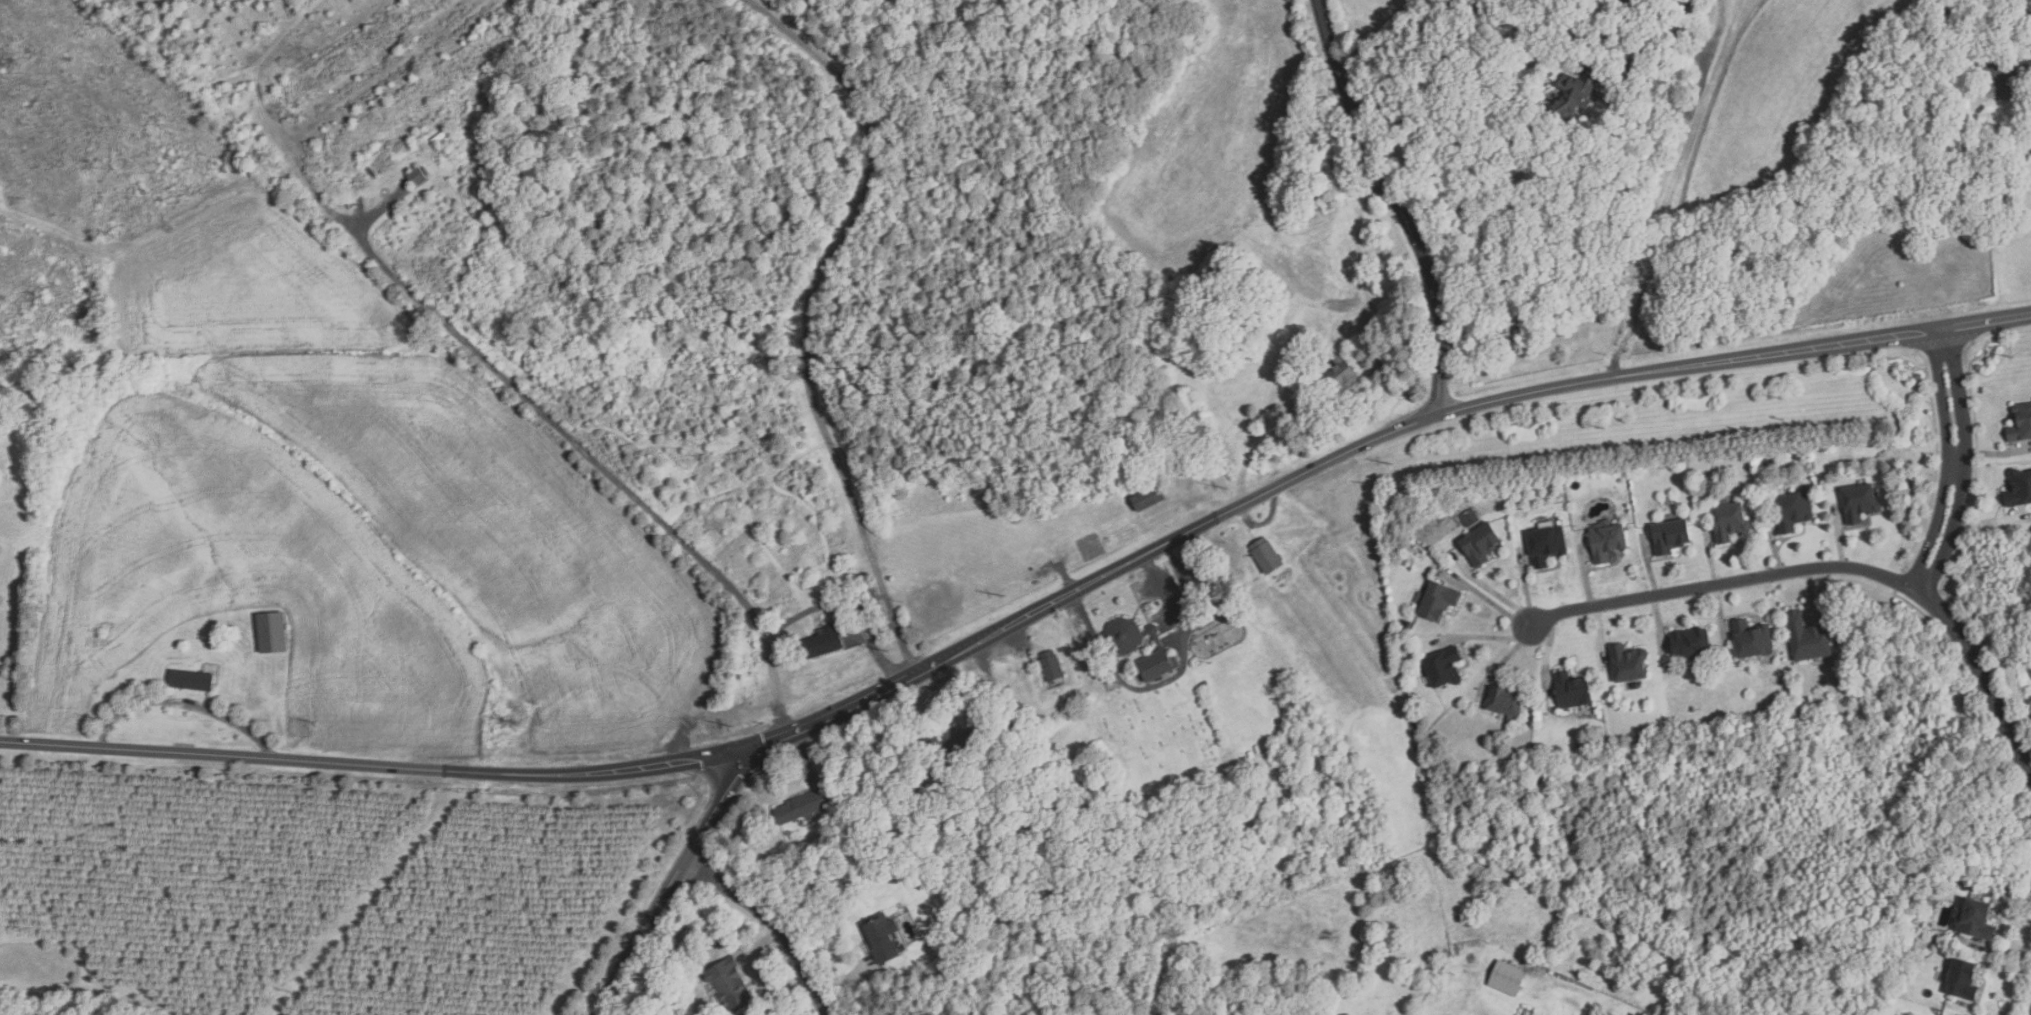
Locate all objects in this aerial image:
building: (1630, 3)
building: (2024, 5)
road: (1533, 51)
building: (2001, 69)
building: (2027, 71)
road: (1698, 92)
building: (1575, 96)
road: (2026, 119)
building: (418, 177)
road: (1677, 187)
road: (1398, 204)
road: (809, 308)
river: (668, 312)
road: (467, 344)
power tower: (2020, 354)
building: (1343, 372)
power tower: (1788, 396)
building: (2020, 424)
power tower: (1609, 426)
power tower: (1393, 462)
road: (1957, 462)
building: (2020, 487)
power tower: (1227, 488)
building: (1149, 498)
building: (1859, 503)
building: (1793, 511)
building: (1729, 522)
building: (1670, 537)
building: (1607, 542)
building: (1481, 545)
building: (1546, 546)
building: (1268, 555)
road: (1832, 569)
road: (1201, 587)
road: (1165, 589)
power tower: (1007, 596)
building: (1438, 602)
road: (1026, 614)
building: (272, 632)
building: (1124, 636)
building: (1808, 638)
building: (1753, 640)
road: (1019, 641)
building: (823, 642)
building: (1691, 644)
road: (875, 650)
power tower: (890, 652)
building: (1052, 665)
building: (1156, 665)
building: (1627, 665)
building: (1443, 669)
building: (191, 680)
road: (1124, 683)
road: (961, 687)
building: (1572, 692)
road: (182, 699)
building: (1506, 705)
power tower: (101, 720)
power tower: (314, 723)
power tower: (520, 726)
power tower: (736, 727)
building: (1032, 727)
building: (951, 745)
road: (806, 755)
building: (806, 806)
road: (676, 878)
building: (1977, 919)
road: (773, 923)
building: (882, 937)
road: (761, 947)
road: (649, 973)
building: (1509, 978)
road: (843, 980)
building: (1962, 980)
building: (730, 983)

